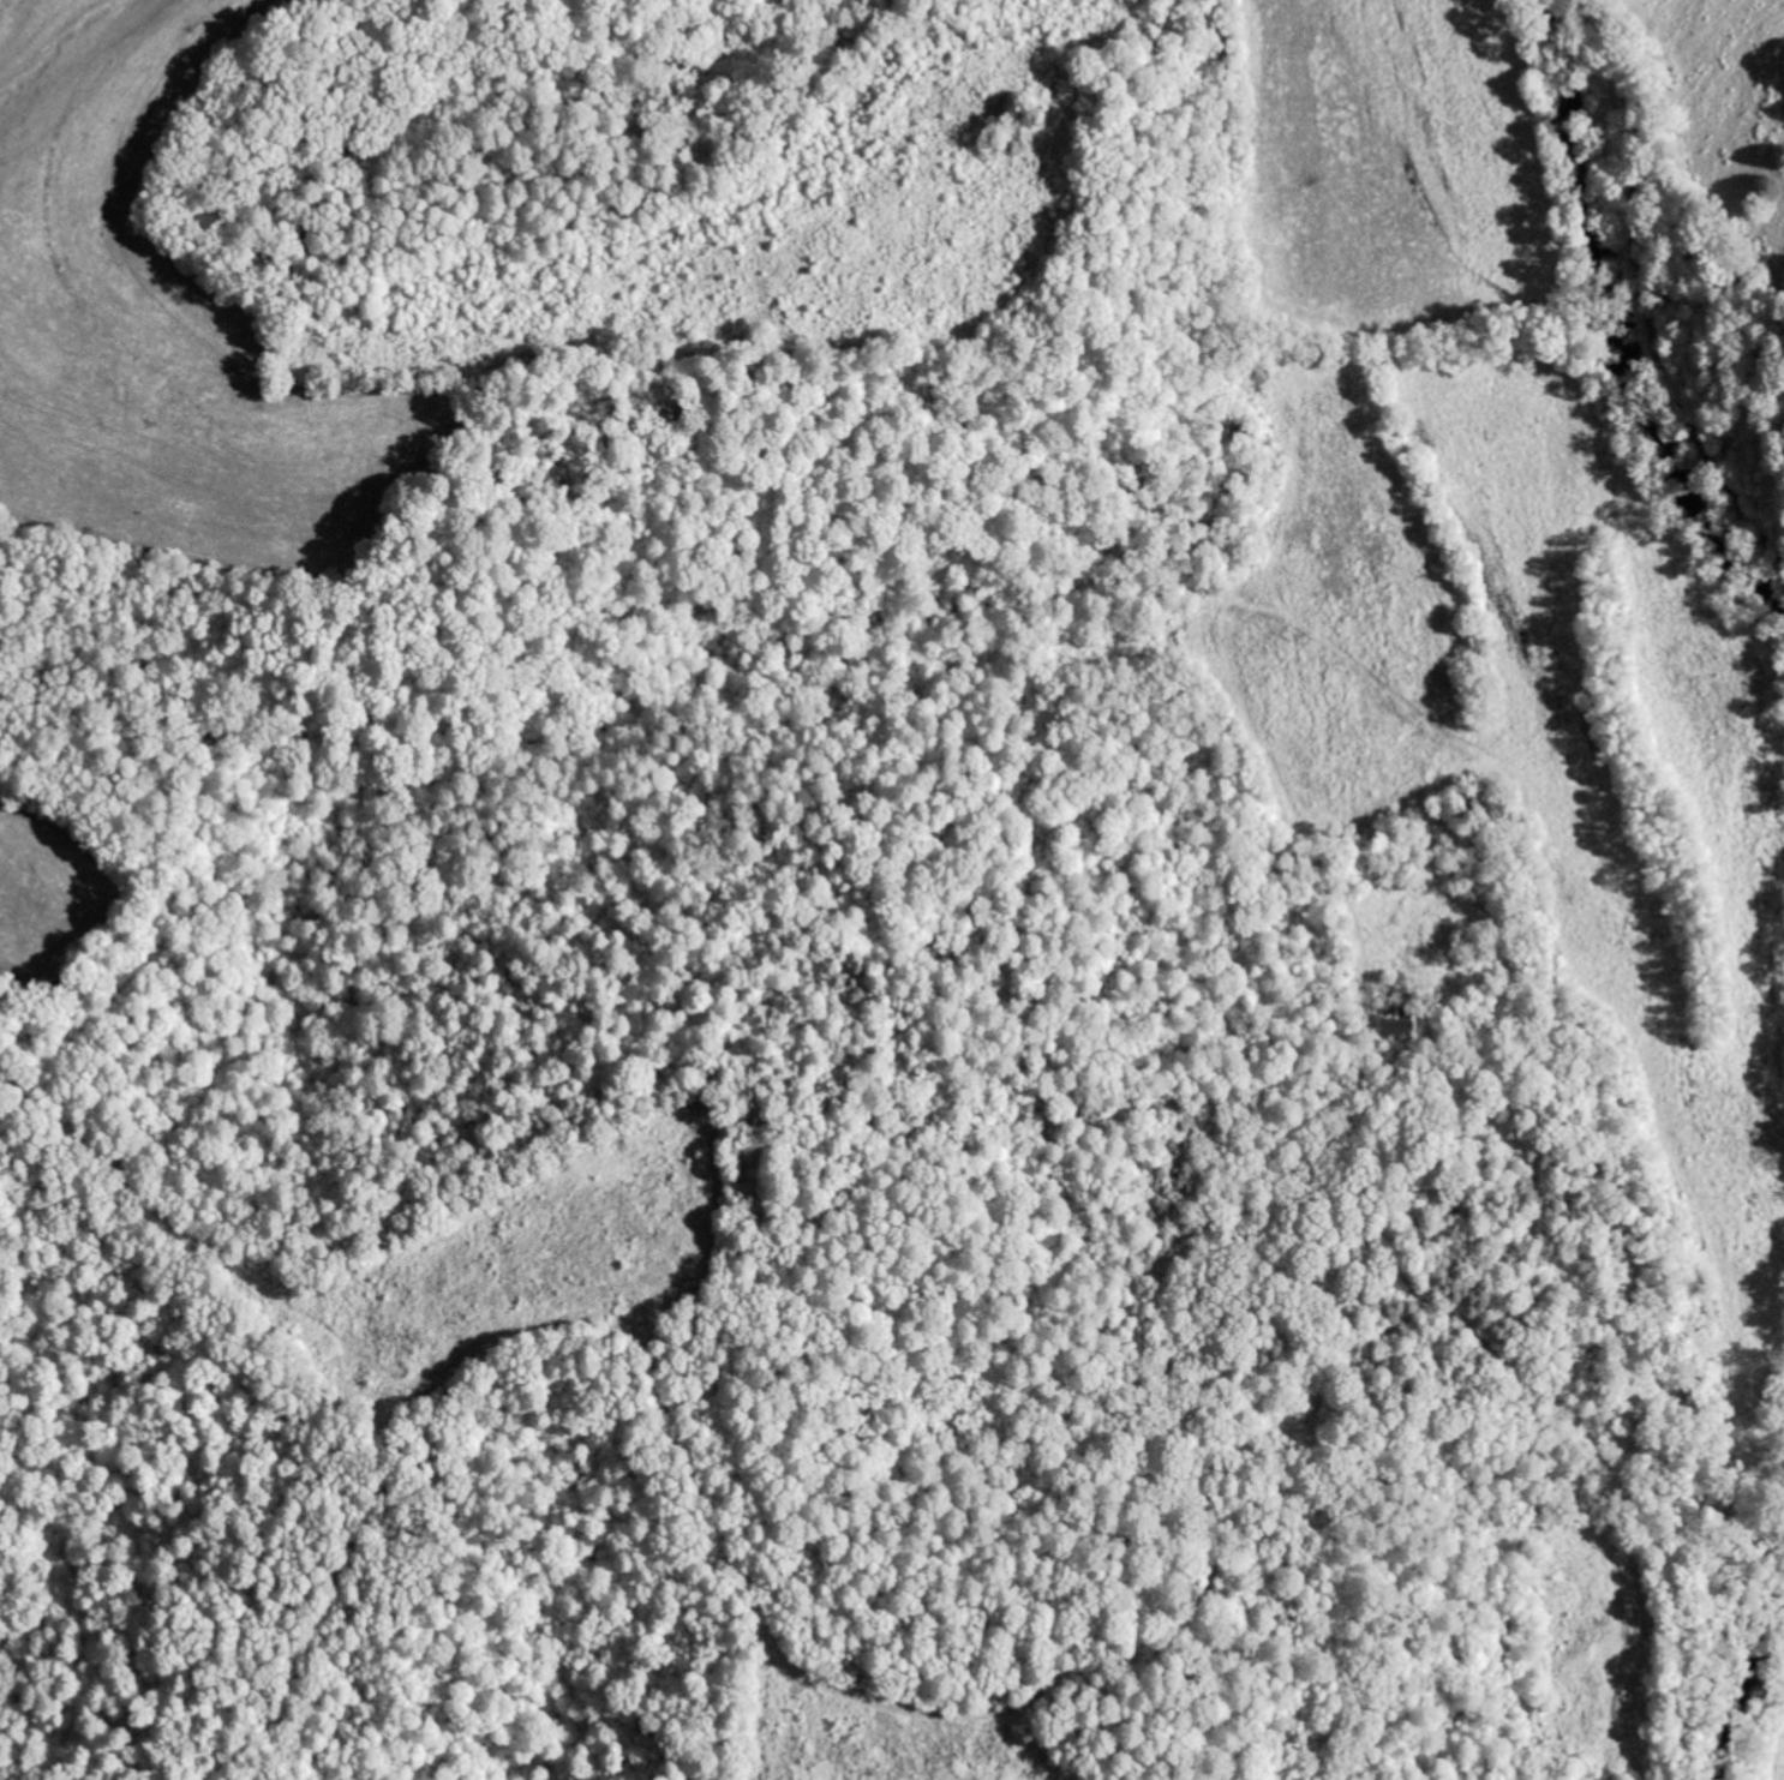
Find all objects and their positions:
road: (1648, 293)
road: (1556, 1139)

